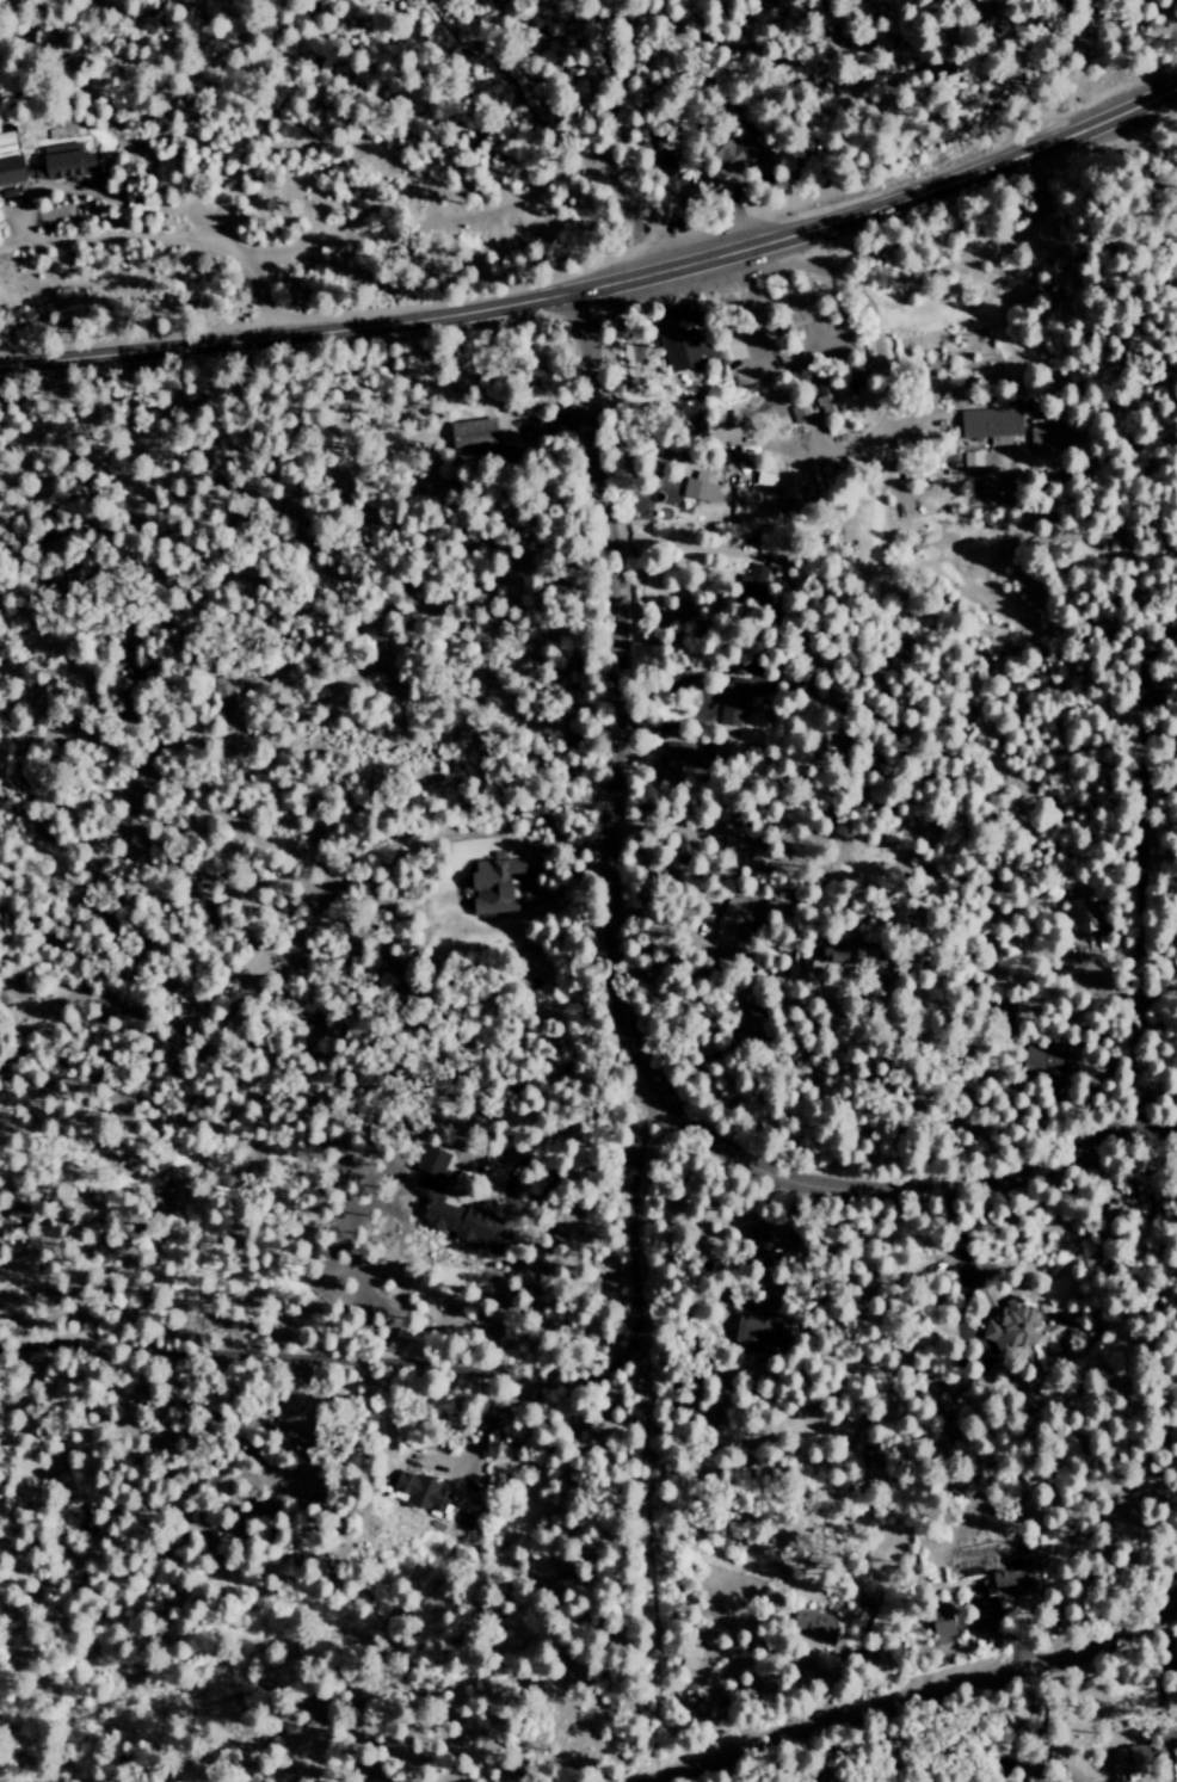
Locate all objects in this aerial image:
road: (135, 16)
road: (731, 64)
road: (987, 75)
road: (524, 86)
road: (899, 125)
building: (734, 152)
parking lot: (659, 155)
building: (62, 162)
building: (10, 171)
road: (791, 175)
road: (700, 185)
road: (970, 189)
road: (812, 192)
road: (155, 236)
road: (739, 278)
road: (602, 283)
road: (868, 309)
parking lot: (779, 325)
road: (842, 329)
building: (683, 337)
road: (298, 359)
building: (797, 413)
parking lot: (941, 419)
building: (990, 421)
building: (470, 434)
building: (972, 458)
building: (750, 584)
building: (732, 705)
building: (678, 758)
building: (493, 888)
building: (1085, 913)
road: (1144, 914)
road: (623, 963)
building: (429, 1166)
building: (461, 1225)
building: (1010, 1327)
road: (462, 1375)
building: (431, 1499)
building: (1006, 1585)
building: (812, 1624)
building: (942, 1629)
road: (1166, 1646)
road: (923, 1694)

